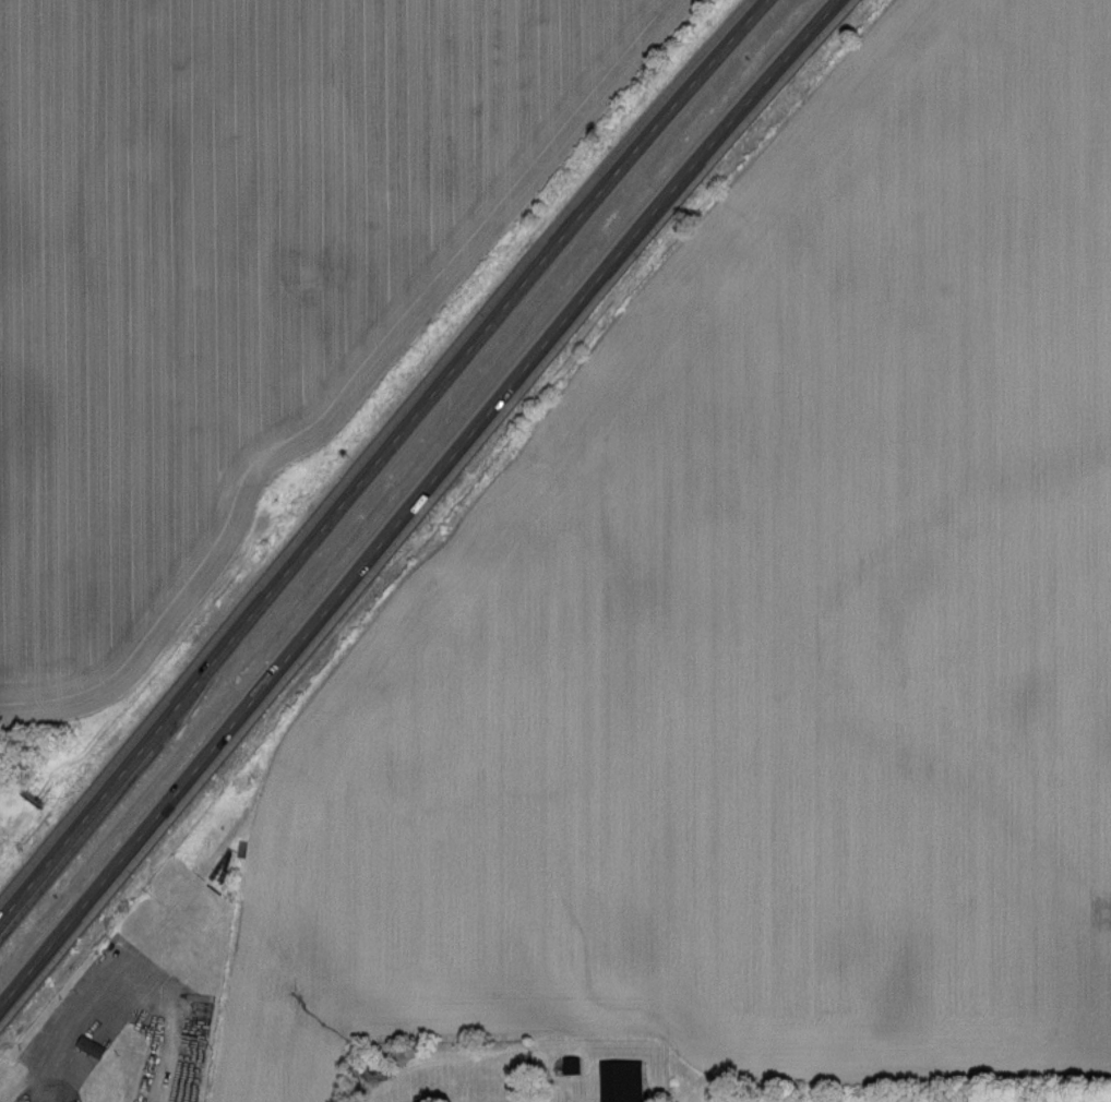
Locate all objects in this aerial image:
road: (380, 457)
road: (416, 500)
road: (117, 974)
building: (91, 1046)
building: (621, 1081)

